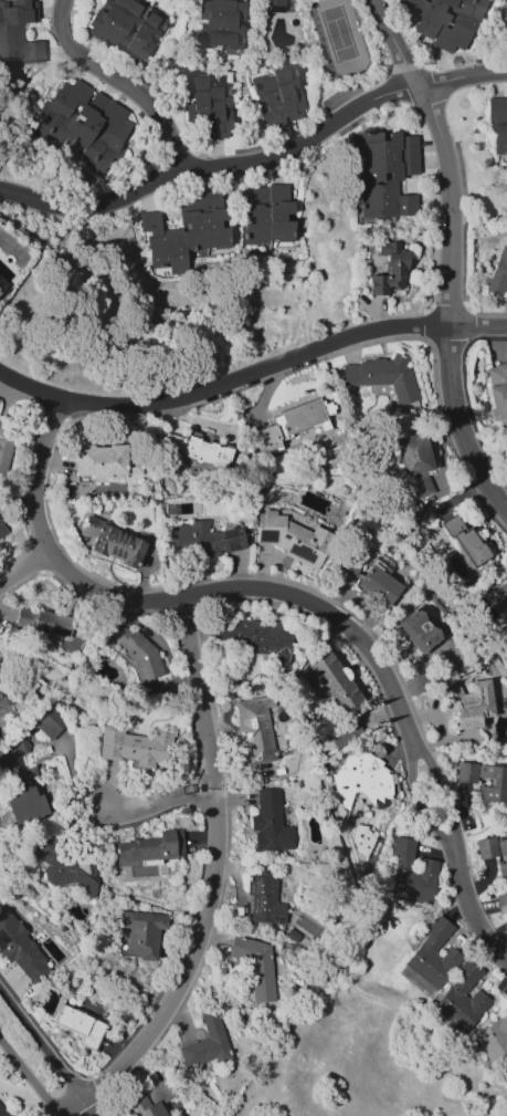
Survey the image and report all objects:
building: (276, 6)
building: (446, 20)
building: (221, 23)
building: (505, 23)
building: (126, 25)
building: (19, 31)
park: (341, 36)
road: (397, 44)
road: (122, 83)
building: (277, 93)
building: (207, 103)
building: (60, 107)
road: (342, 121)
building: (97, 122)
building: (498, 123)
building: (410, 155)
building: (383, 179)
road: (93, 207)
building: (270, 218)
building: (186, 232)
building: (390, 269)
building: (499, 274)
building: (0, 291)
road: (452, 303)
road: (252, 376)
building: (383, 376)
building: (498, 393)
building: (306, 416)
building: (268, 438)
building: (198, 449)
building: (4, 455)
building: (101, 460)
building: (414, 463)
building: (2, 529)
building: (207, 538)
building: (292, 539)
building: (113, 542)
building: (472, 547)
road: (25, 570)
building: (379, 586)
building: (503, 587)
road: (302, 599)
building: (44, 622)
building: (418, 630)
building: (254, 637)
building: (135, 649)
building: (334, 681)
building: (4, 690)
building: (473, 706)
building: (51, 724)
building: (255, 731)
building: (342, 732)
building: (135, 747)
building: (466, 772)
building: (361, 778)
building: (498, 781)
building: (24, 803)
road: (158, 803)
building: (271, 823)
building: (501, 846)
building: (151, 847)
building: (486, 847)
building: (63, 865)
building: (503, 873)
building: (410, 876)
road: (215, 884)
building: (264, 900)
building: (501, 900)
building: (142, 932)
building: (20, 948)
building: (434, 955)
building: (255, 966)
building: (463, 1000)
building: (506, 1010)
building: (82, 1026)
building: (494, 1042)
building: (207, 1043)
road: (49, 1054)
road: (29, 1077)
building: (150, 1101)
building: (1, 1113)
building: (483, 1114)

